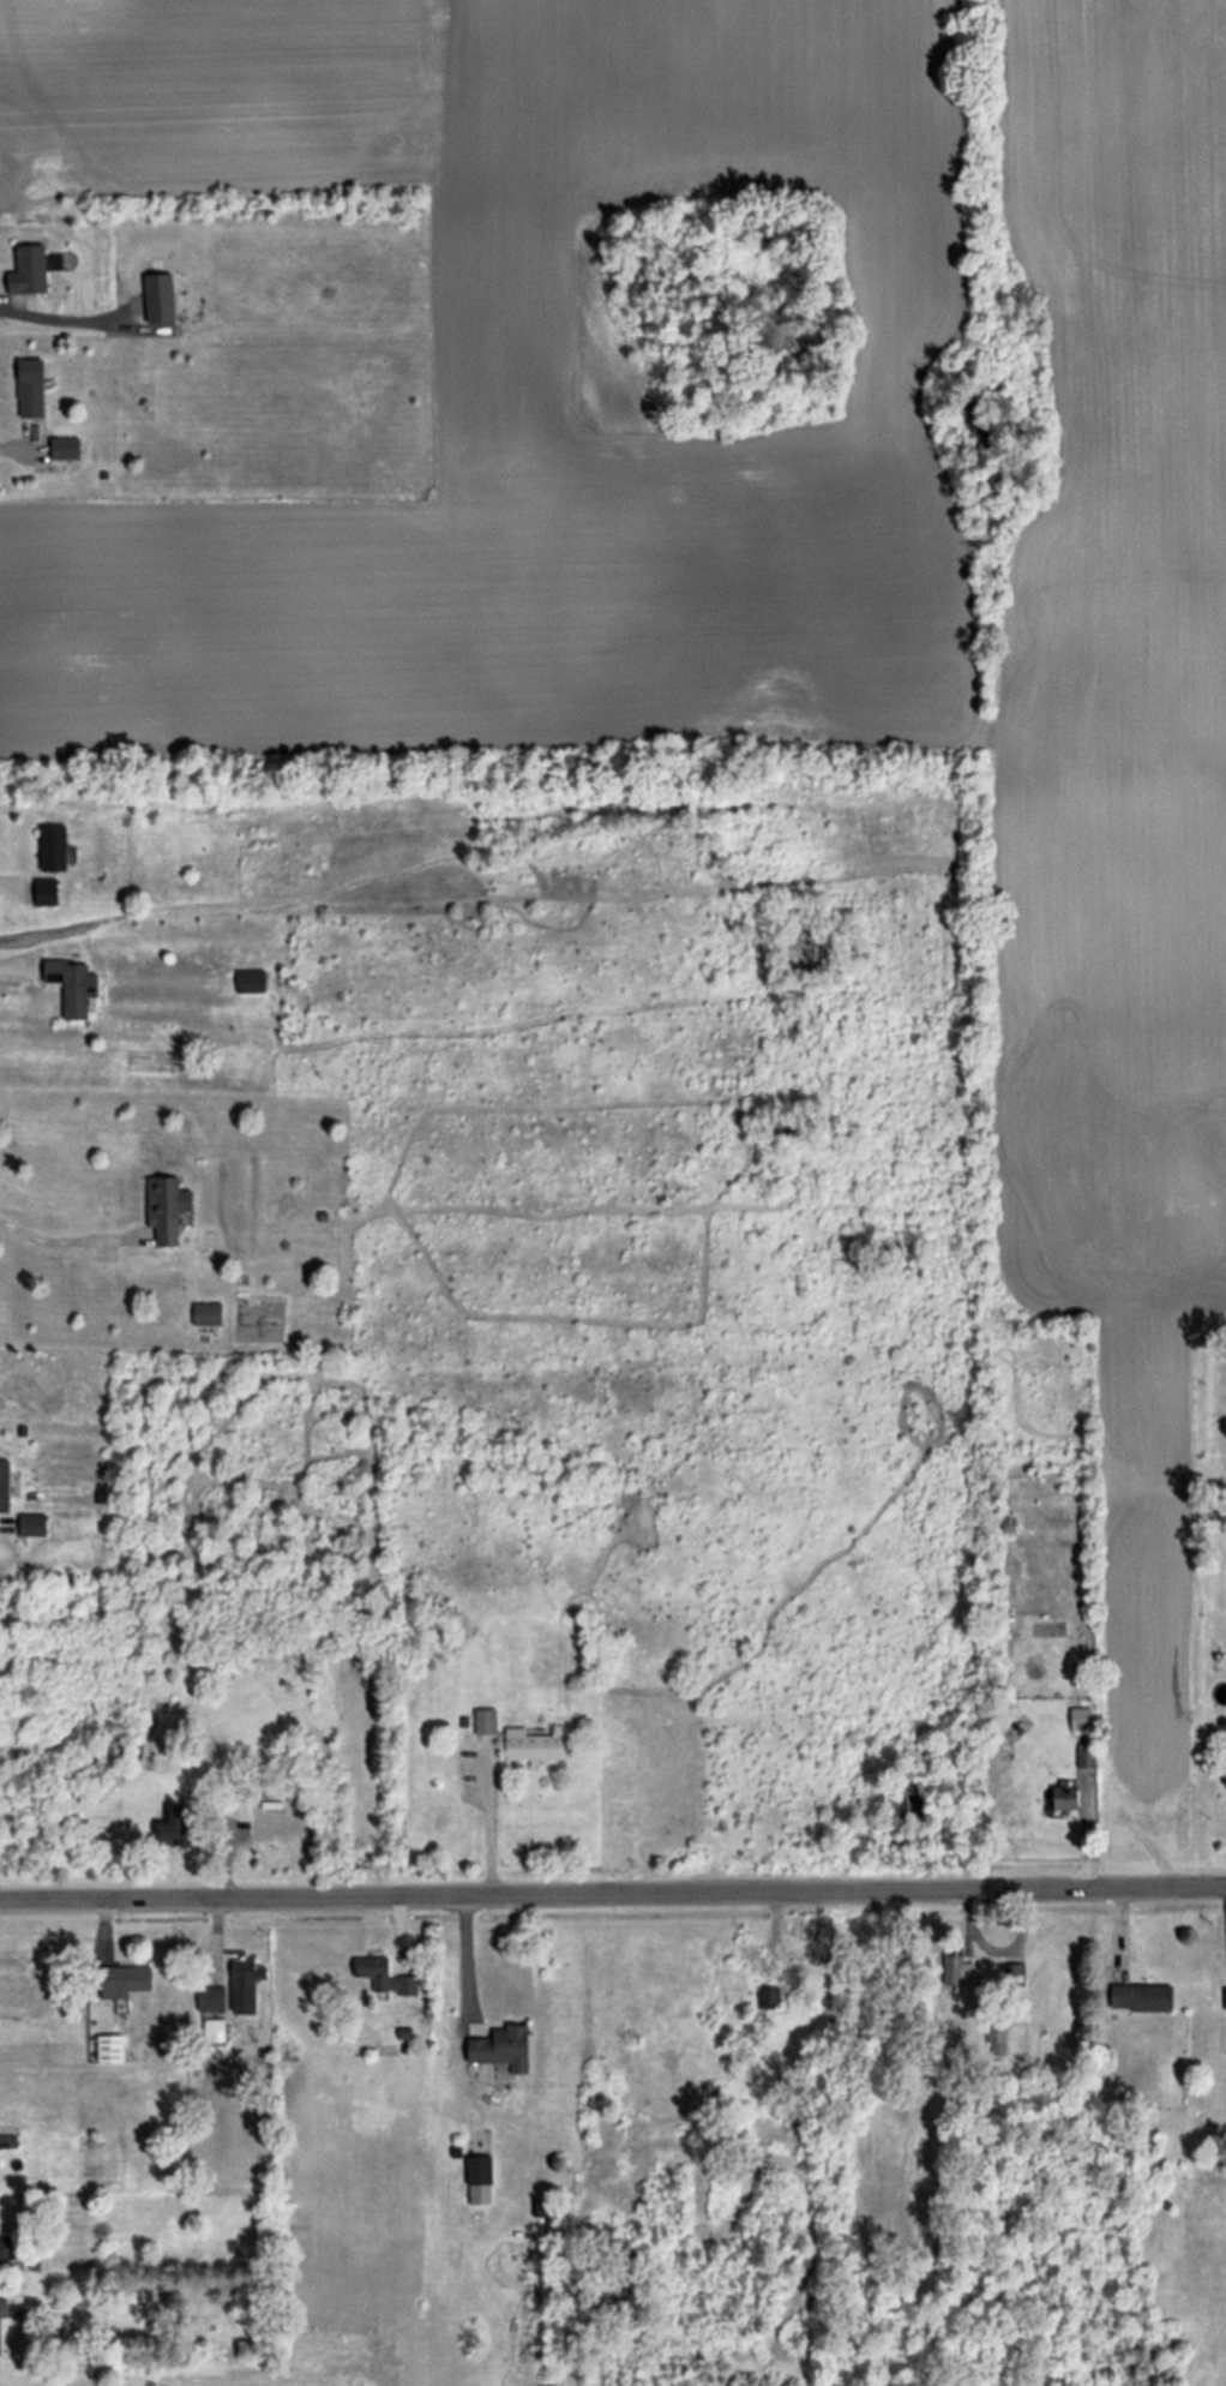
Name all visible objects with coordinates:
building: (28, 269)
building: (157, 298)
road: (14, 446)
building: (65, 446)
building: (53, 847)
road: (6, 880)
building: (46, 891)
road: (7, 967)
building: (72, 985)
road: (54, 1239)
building: (4, 1485)
building: (31, 1523)
building: (485, 1721)
building: (535, 1745)
building: (1084, 1755)
building: (1225, 1773)
building: (1064, 1797)
road: (486, 1818)
building: (175, 1826)
road: (613, 1890)
road: (464, 1955)
building: (957, 1972)
building: (1012, 1973)
building: (383, 1974)
building: (124, 1979)
building: (244, 1983)
building: (1140, 1996)
building: (1224, 1996)
building: (501, 2046)
building: (479, 2178)
building: (6, 2246)
building: (2, 2307)

